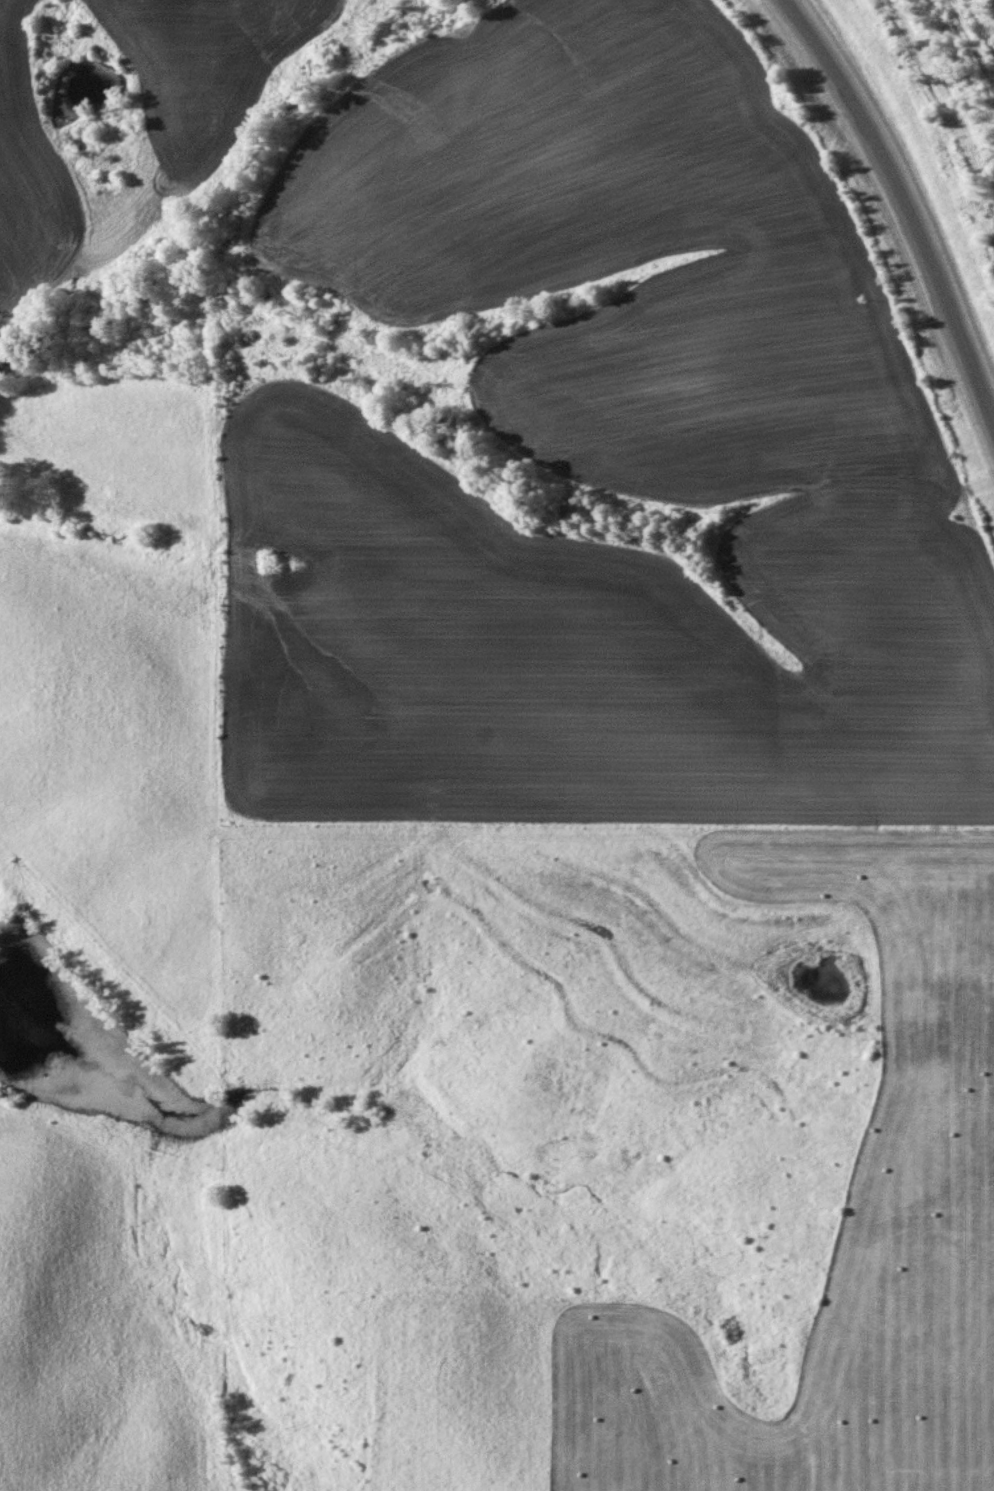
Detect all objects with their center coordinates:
road: (904, 203)

